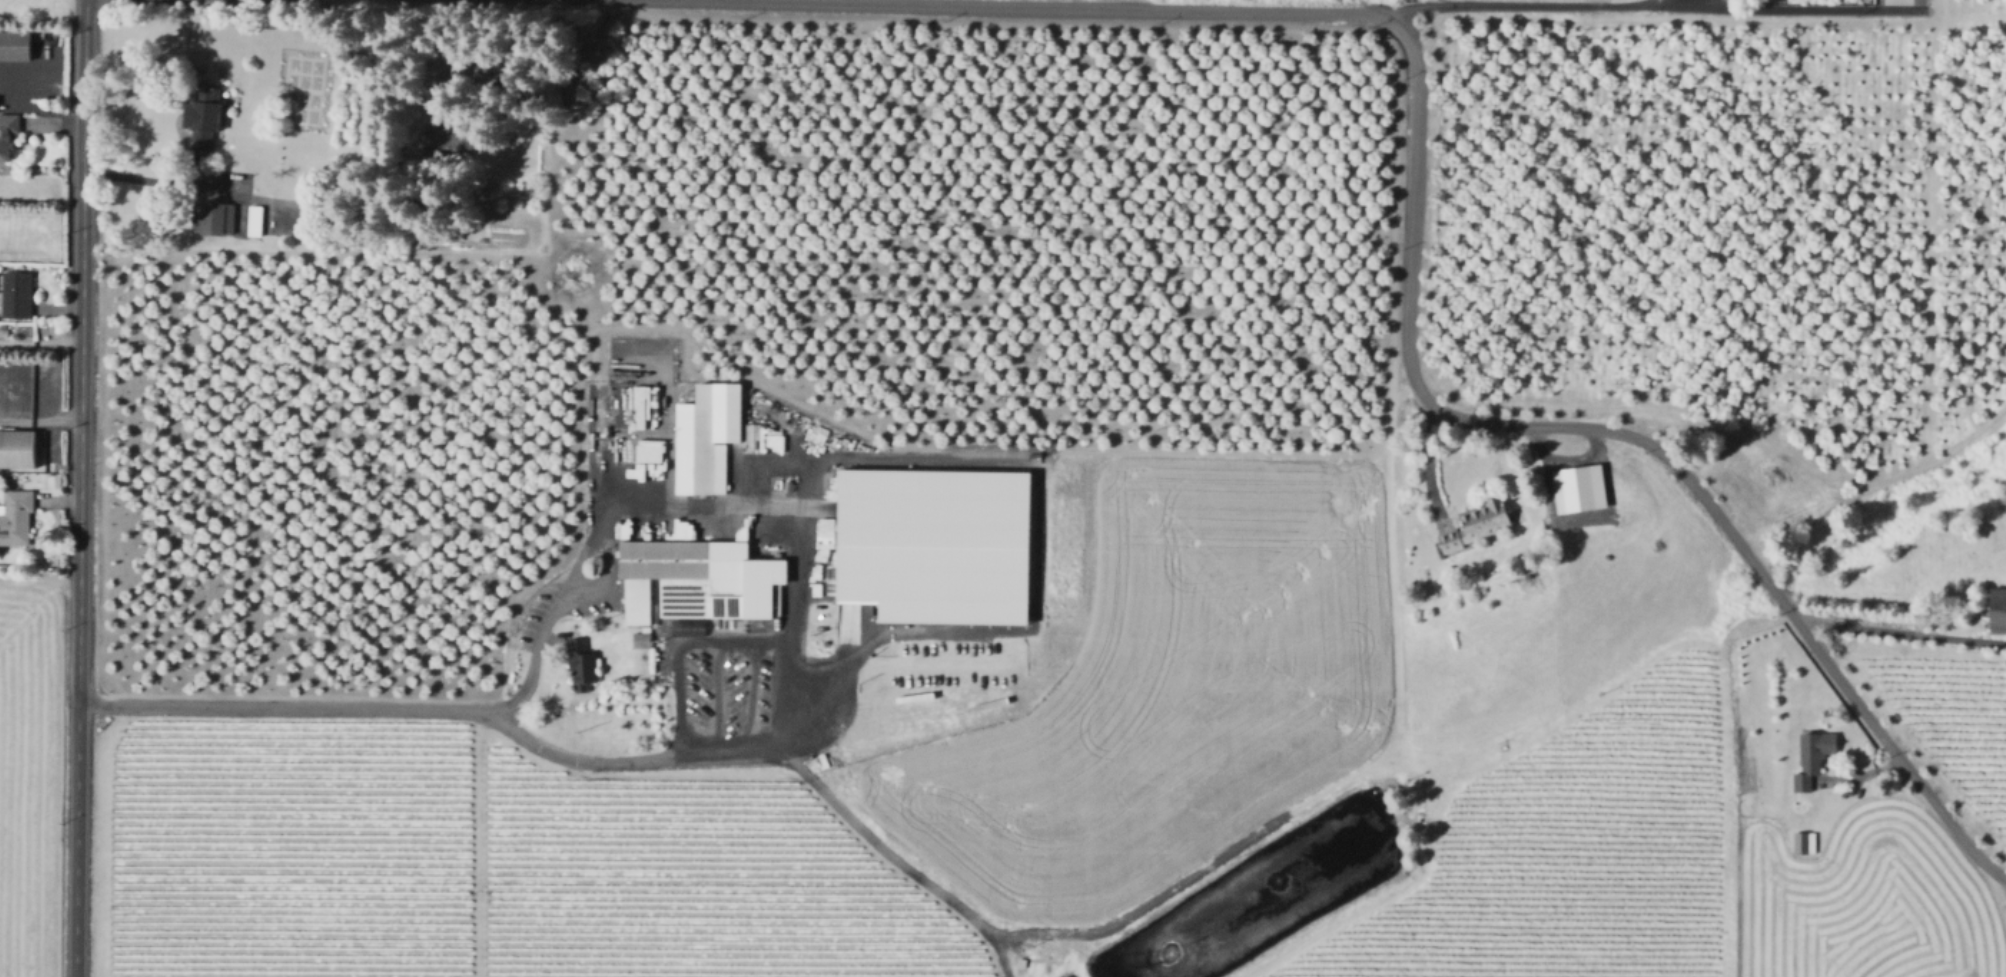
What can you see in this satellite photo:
road: (1665, 1)
road: (1508, 7)
road: (1817, 11)
building: (15, 45)
building: (493, 69)
road: (36, 108)
building: (202, 120)
building: (8, 133)
building: (450, 143)
road: (152, 181)
building: (214, 218)
building: (256, 221)
road: (1412, 285)
building: (17, 294)
building: (4, 332)
building: (640, 407)
road: (40, 419)
building: (708, 437)
building: (17, 448)
building: (651, 451)
road: (1427, 459)
road: (593, 461)
building: (1577, 487)
road: (80, 488)
building: (17, 517)
building: (1478, 524)
building: (934, 543)
building: (699, 580)
building: (1995, 610)
road: (1902, 631)
building: (639, 639)
road: (678, 654)
building: (582, 663)
road: (829, 691)
road: (748, 696)
road: (713, 700)
road: (1395, 725)
building: (1816, 746)
road: (746, 752)
crop: (27, 771)
crop: (1065, 781)
building: (1803, 782)
building: (1805, 842)
road: (891, 856)
road: (1207, 862)

